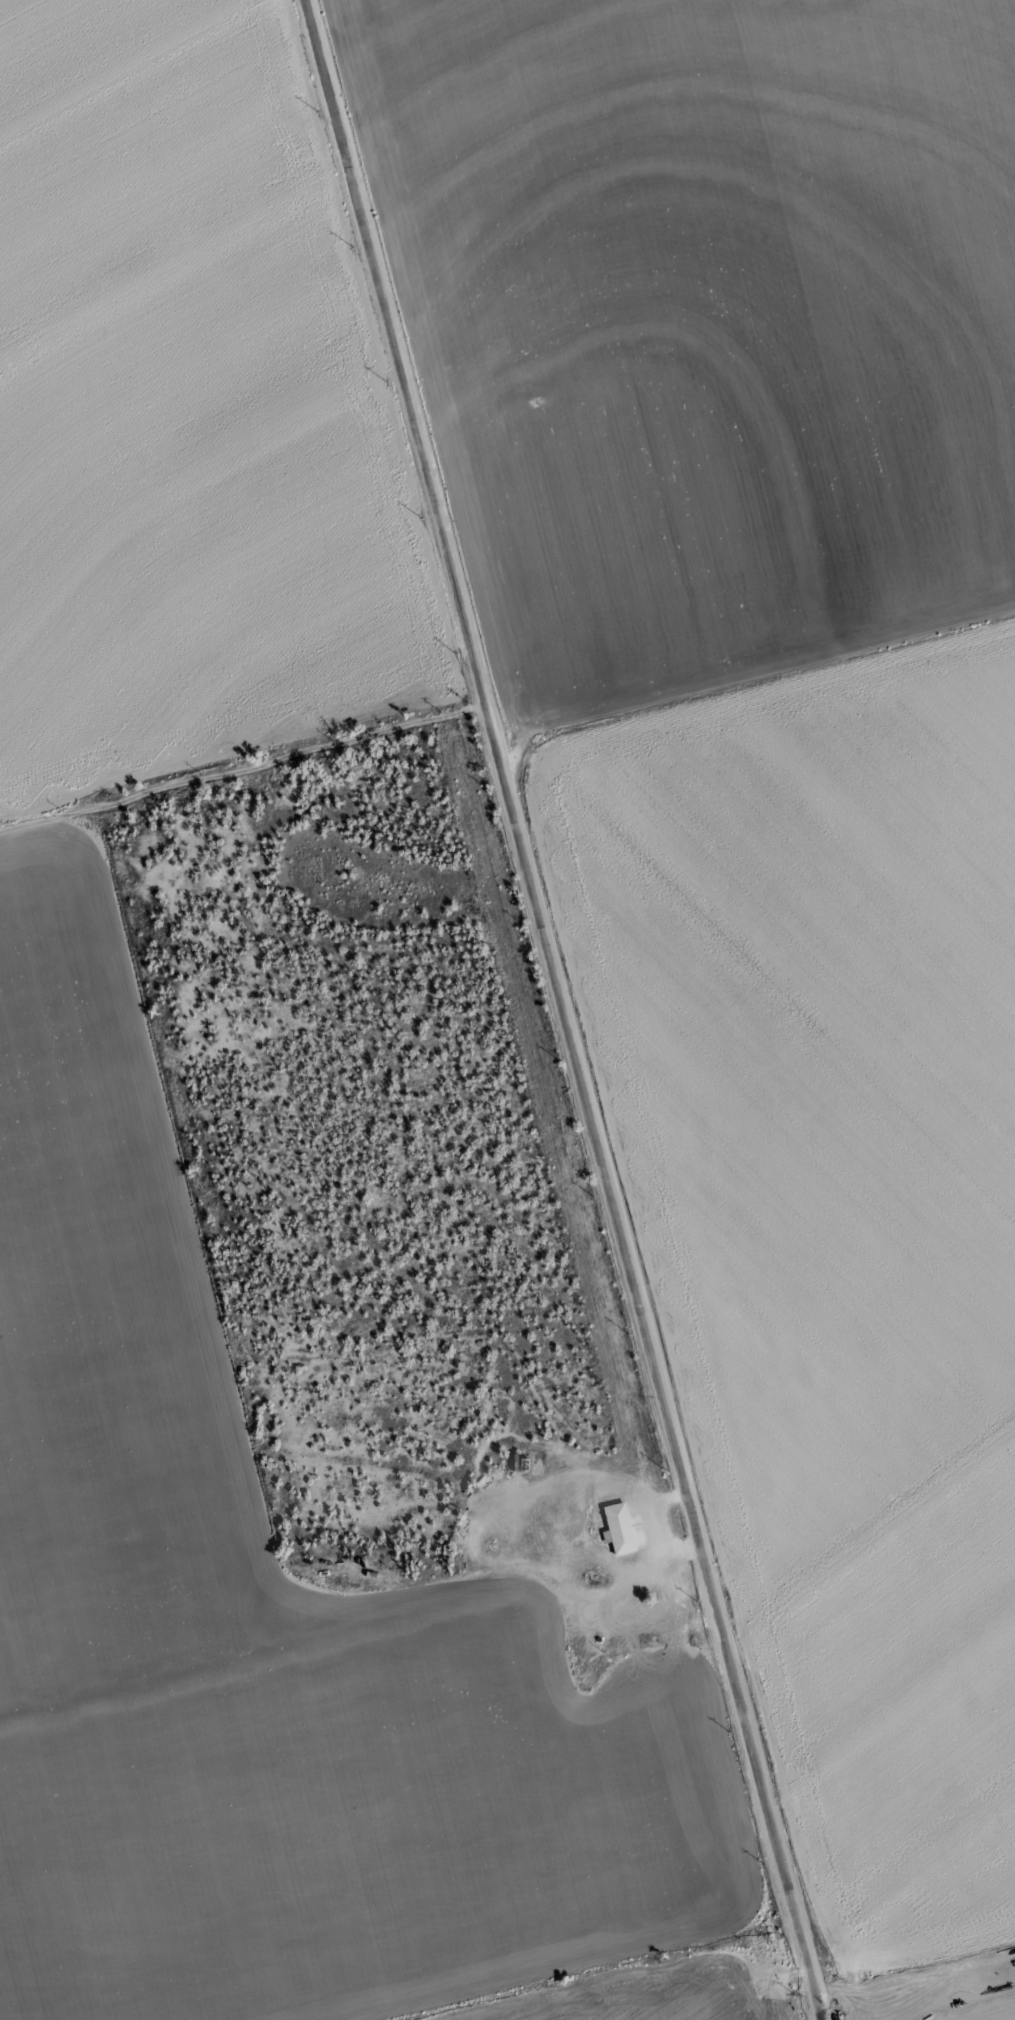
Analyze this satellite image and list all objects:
road: (558, 1010)
building: (619, 1528)

